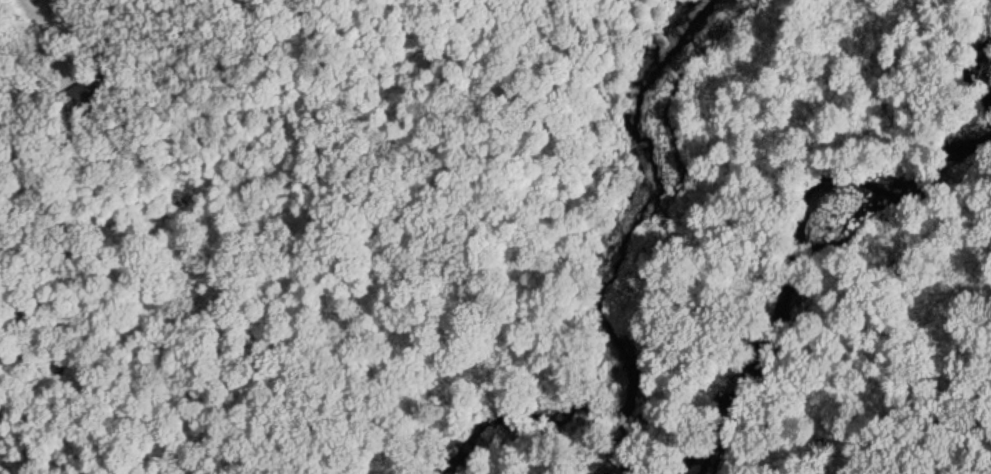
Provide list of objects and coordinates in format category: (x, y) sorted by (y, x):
building: (91, 86)

